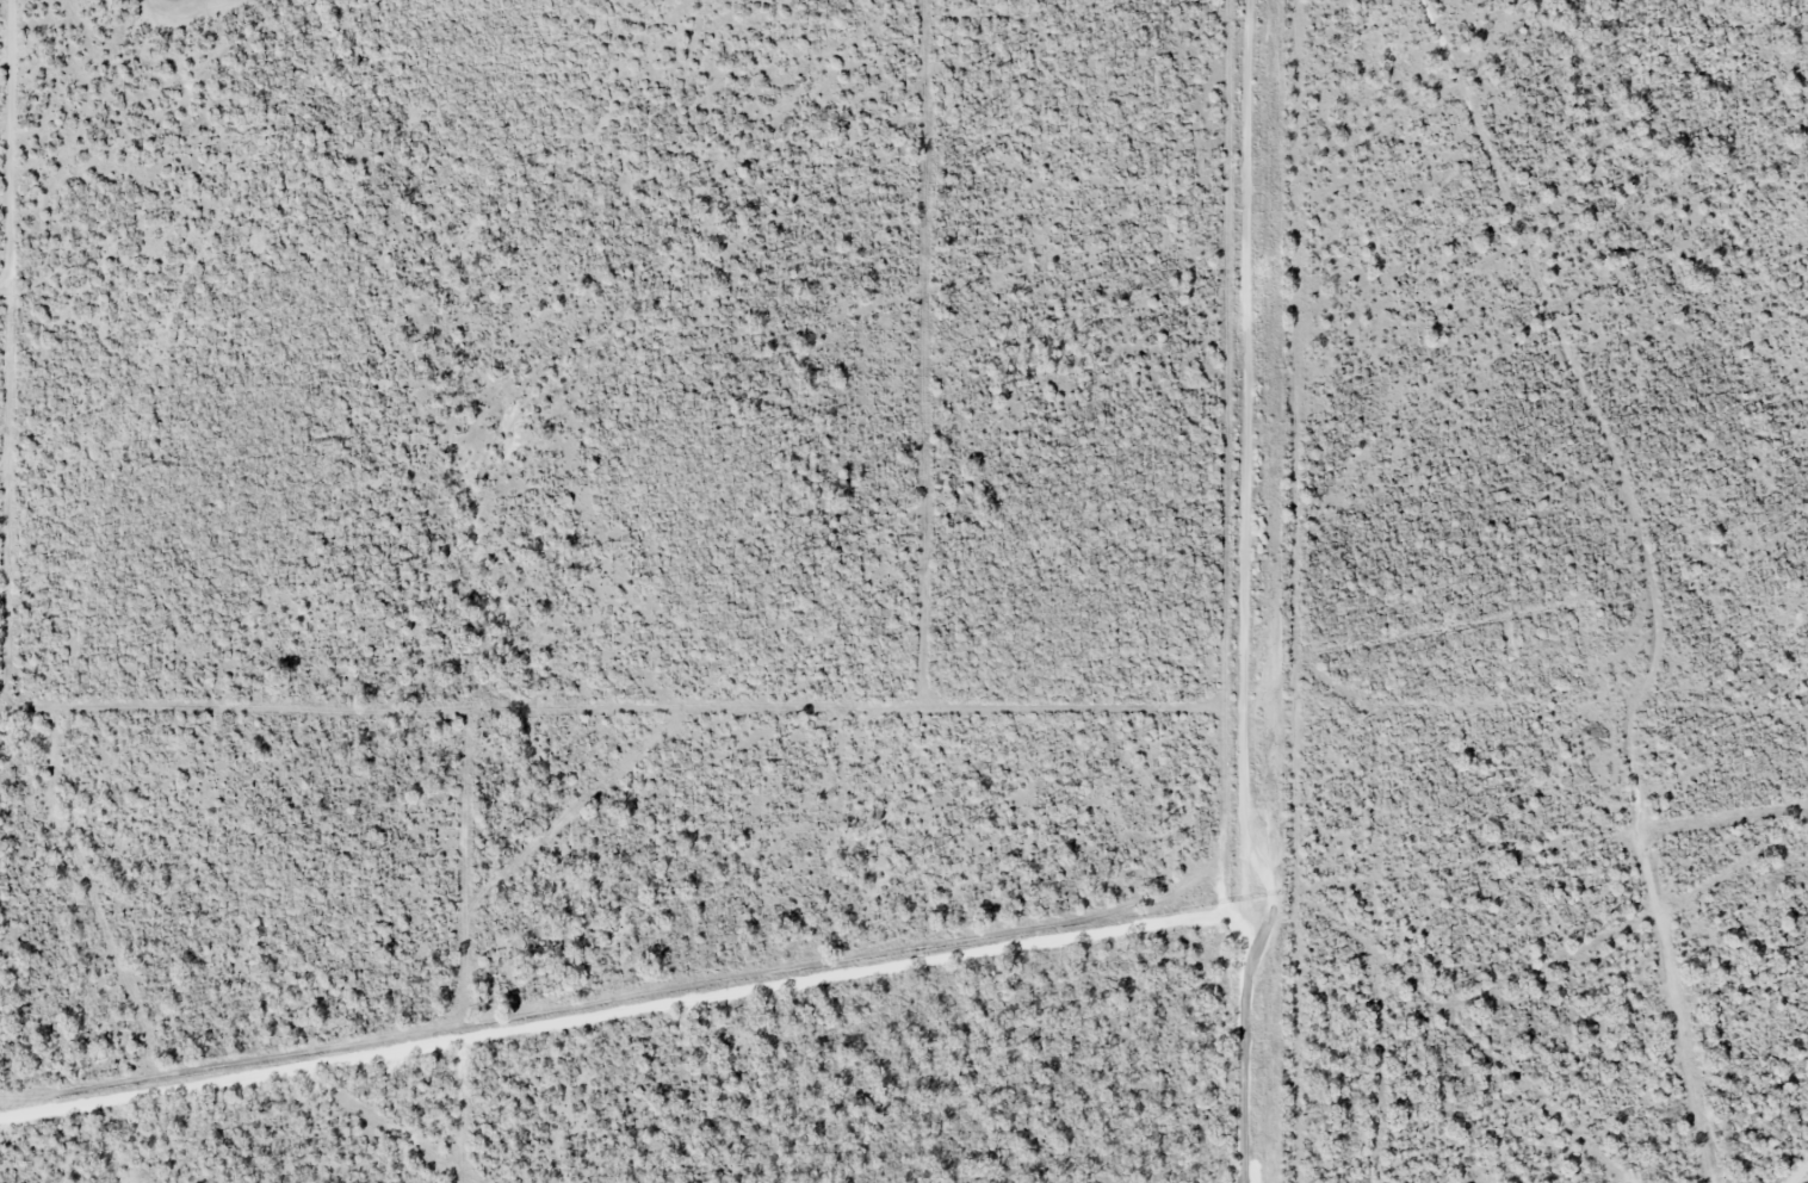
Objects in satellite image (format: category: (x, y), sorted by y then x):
road: (755, 995)

